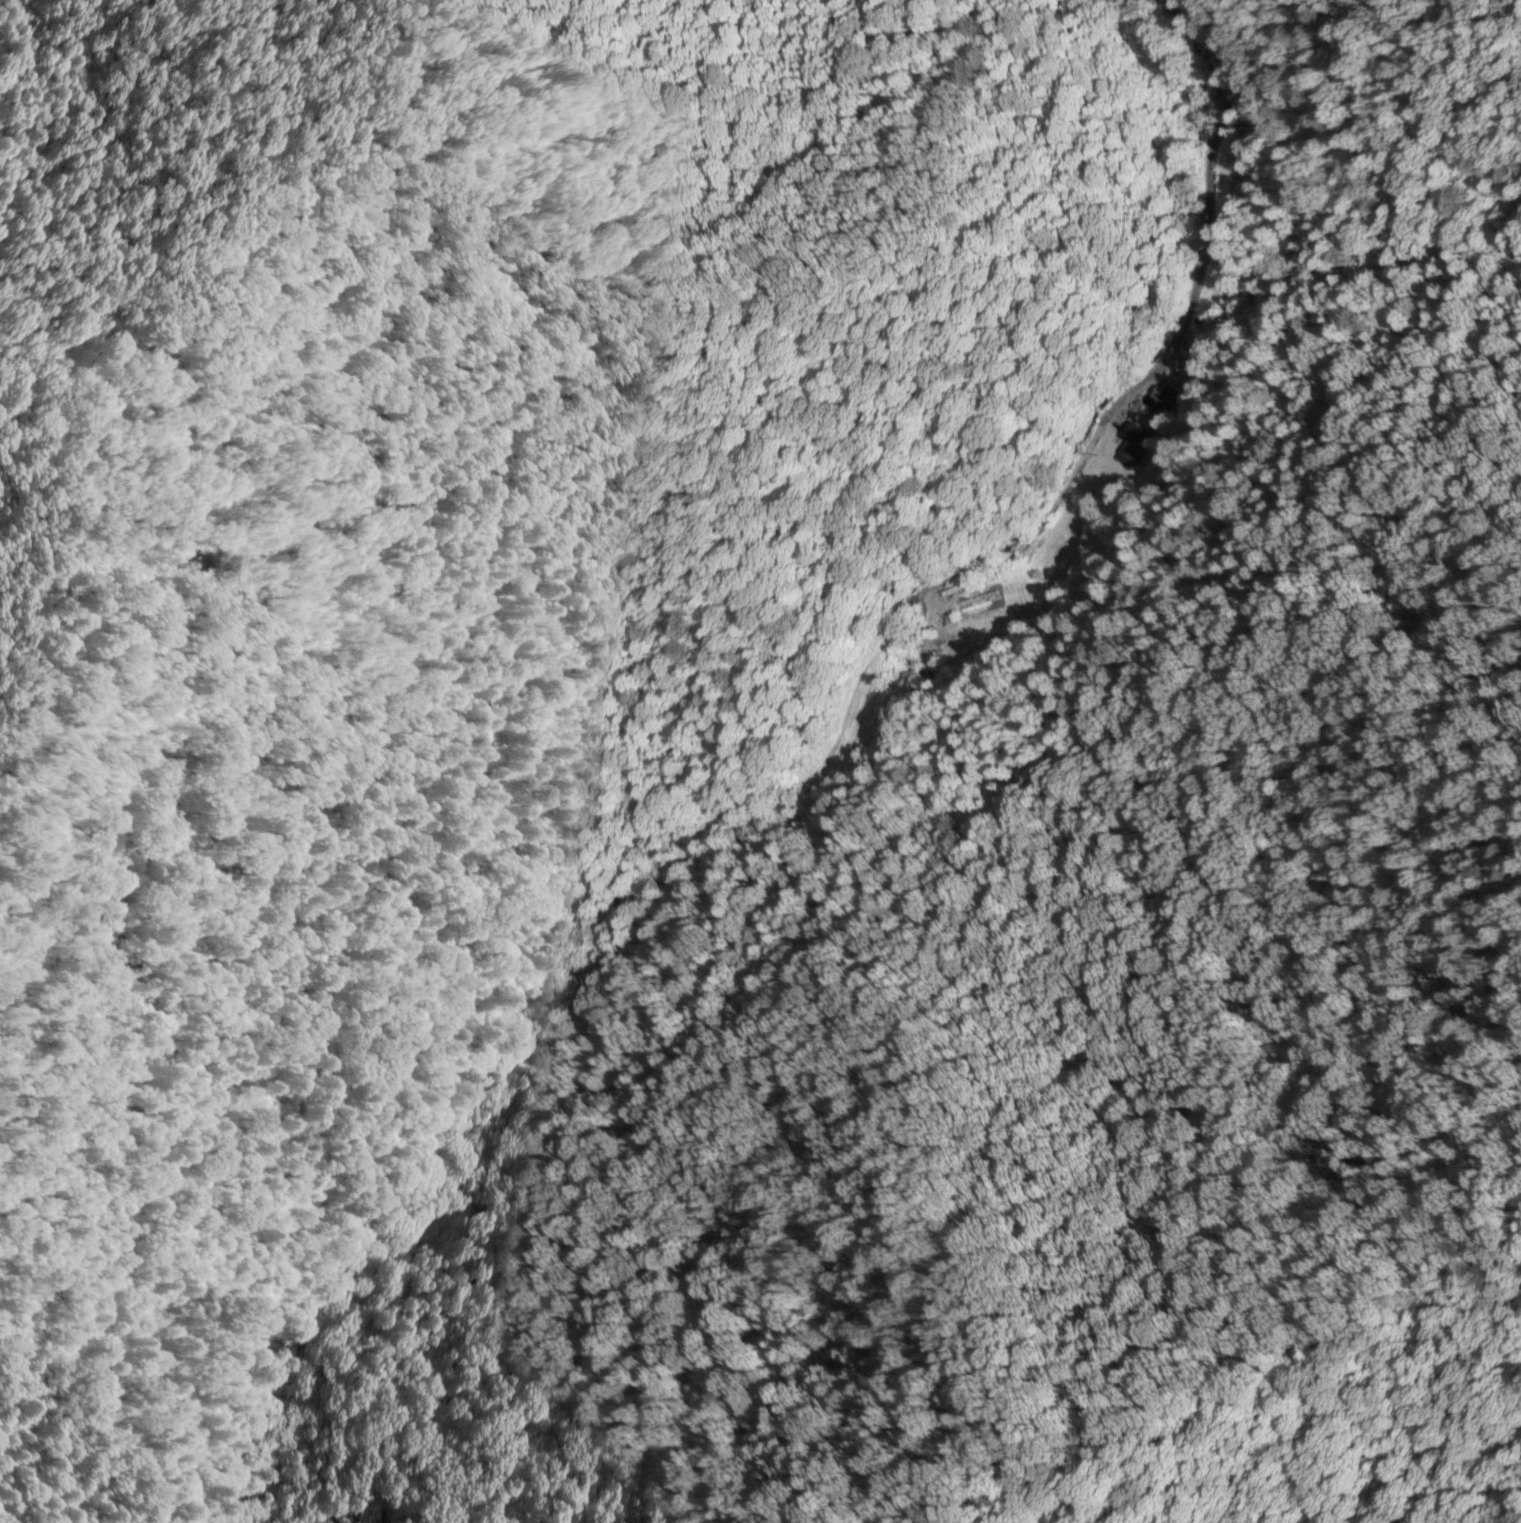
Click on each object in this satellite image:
road: (1207, 217)
building: (1168, 403)
building: (1137, 446)

